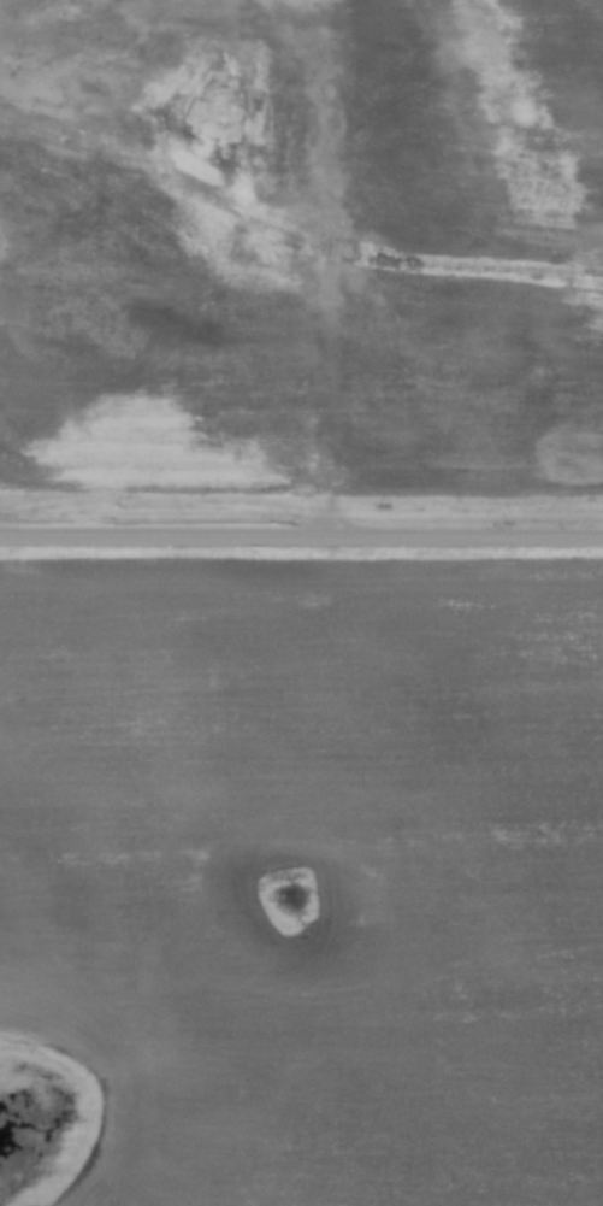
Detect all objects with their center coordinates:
road: (301, 542)

